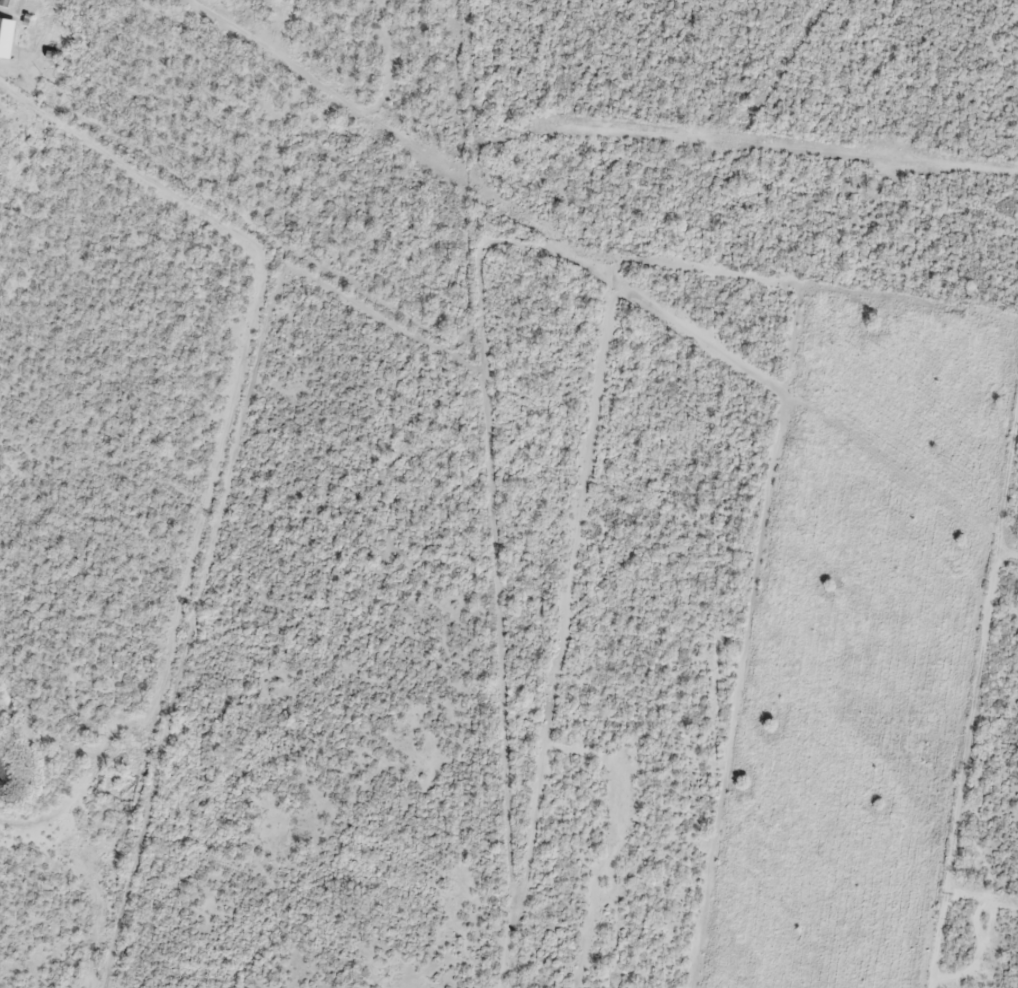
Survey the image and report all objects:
building: (4, 36)

